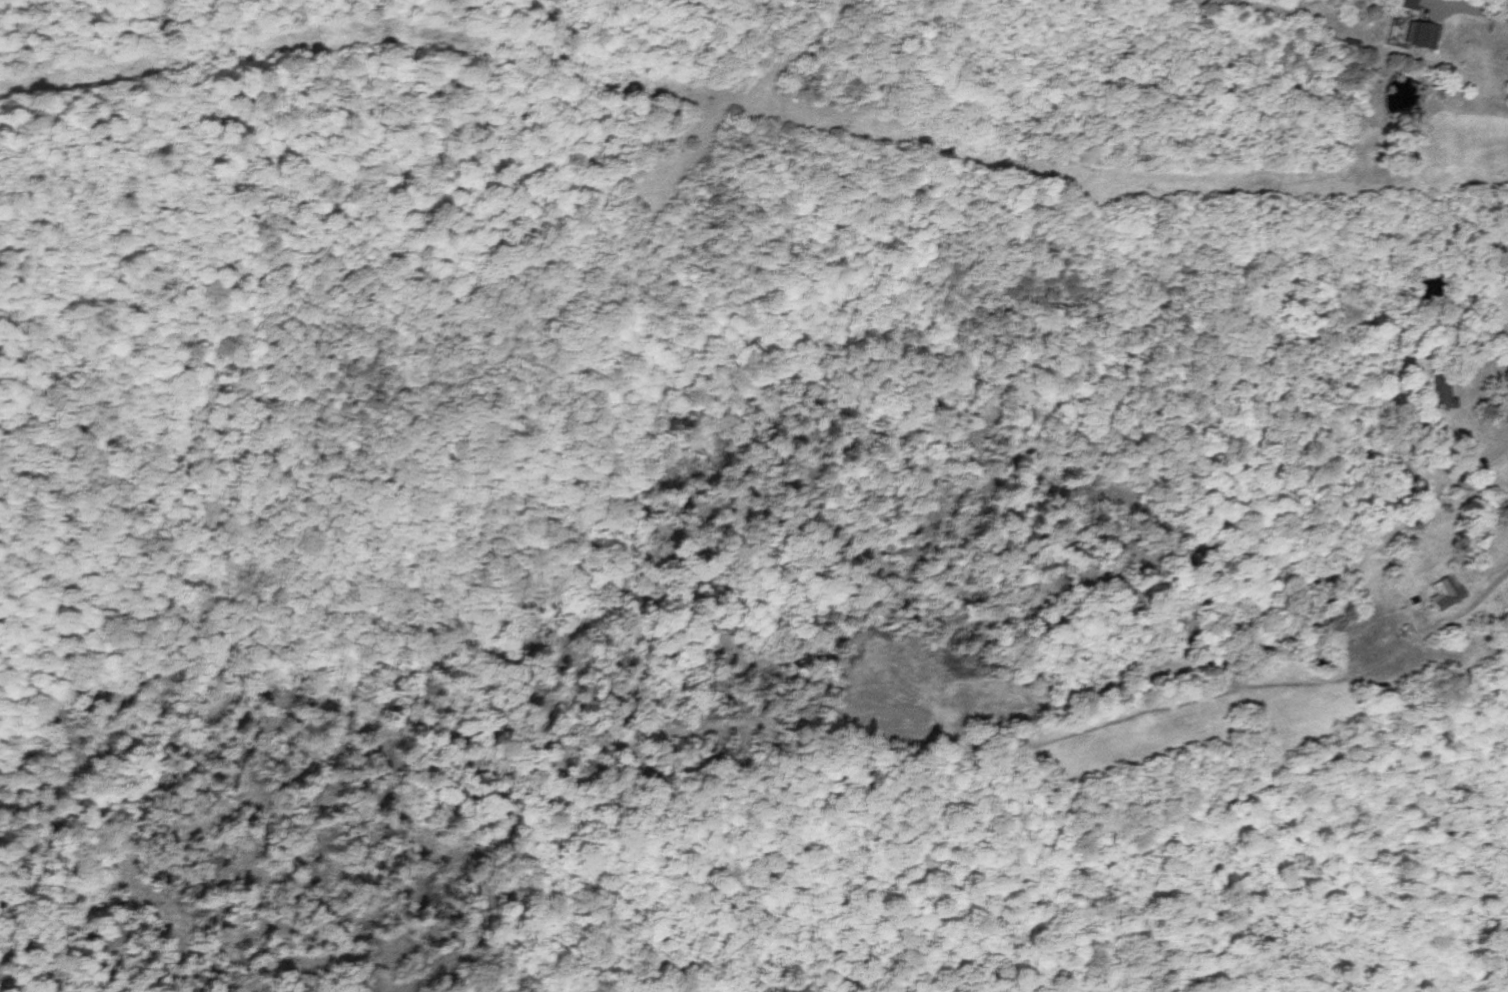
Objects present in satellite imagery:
building: (1407, 3)
building: (1425, 34)
building: (1445, 393)
building: (1448, 593)

